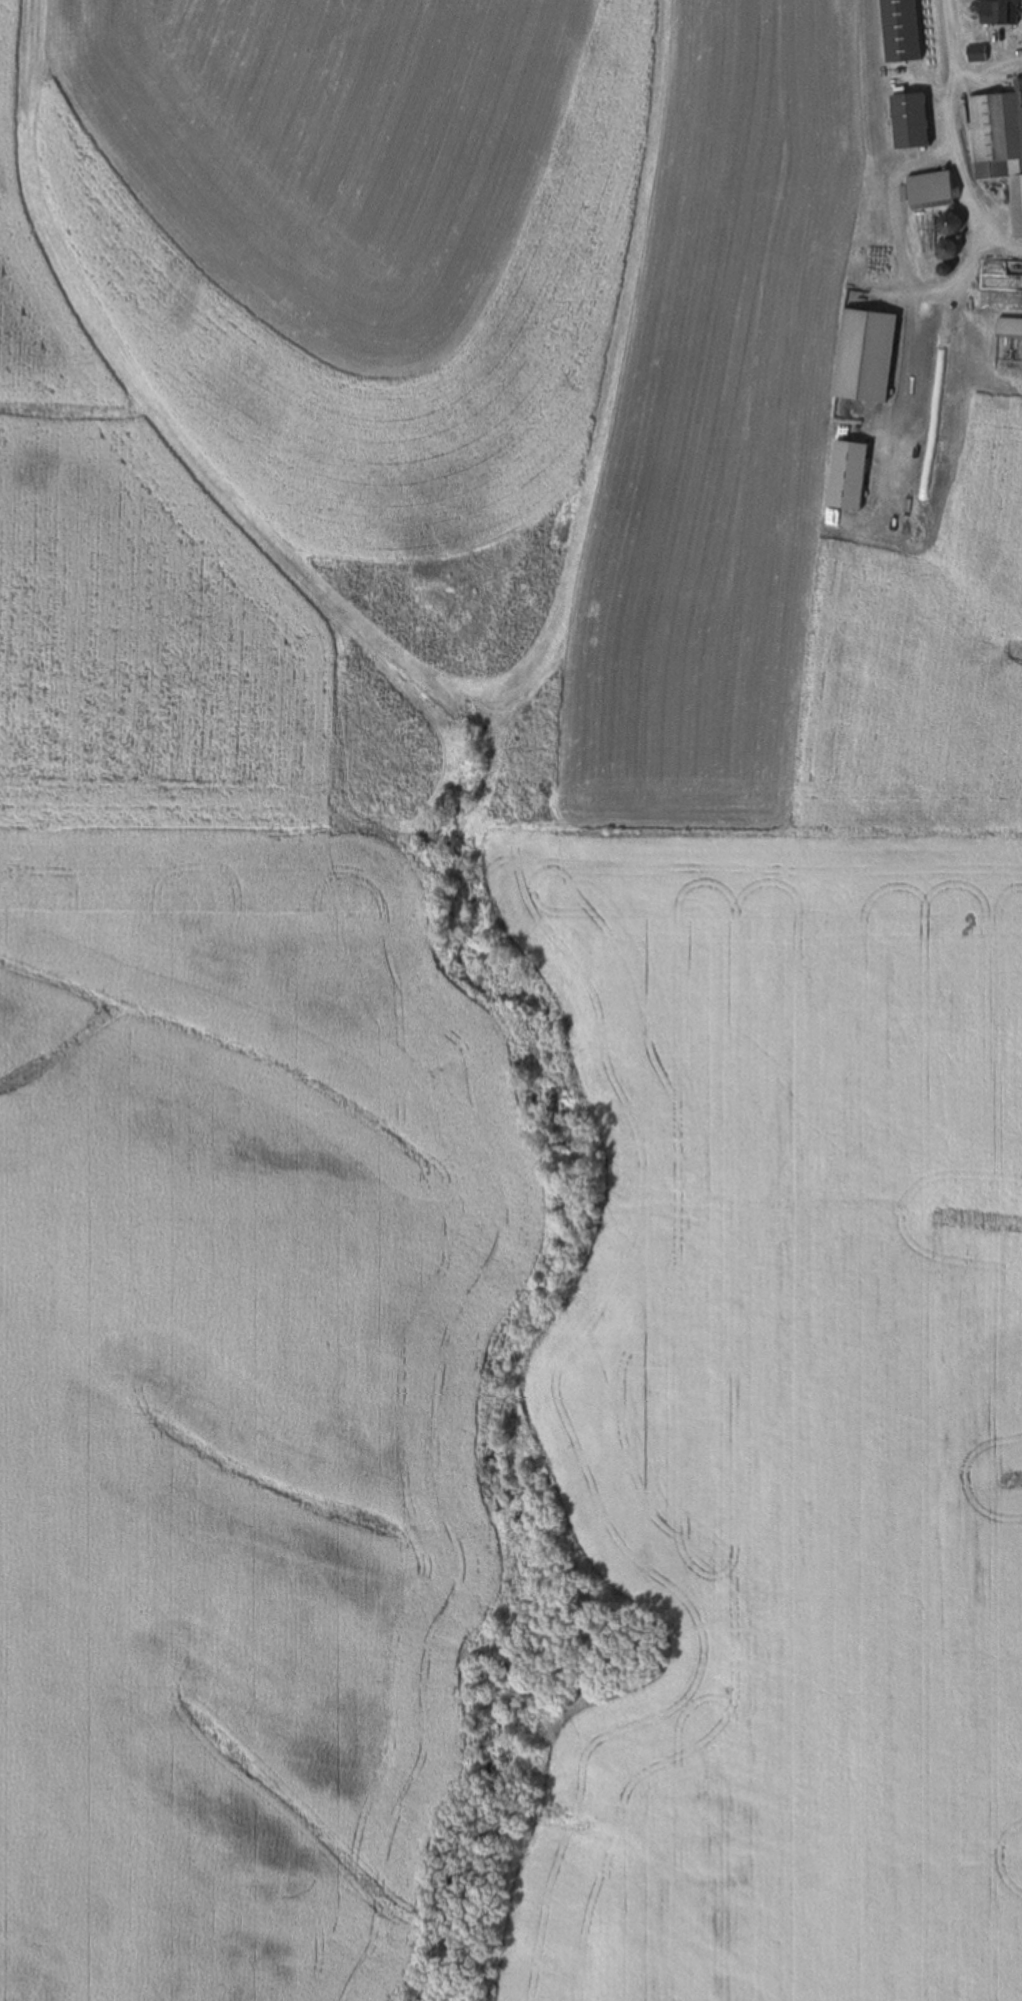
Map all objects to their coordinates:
building: (1002, 14)
building: (902, 30)
building: (977, 54)
road: (983, 69)
building: (910, 121)
road: (939, 124)
building: (1000, 144)
building: (948, 189)
building: (950, 226)
building: (948, 248)
building: (1009, 328)

